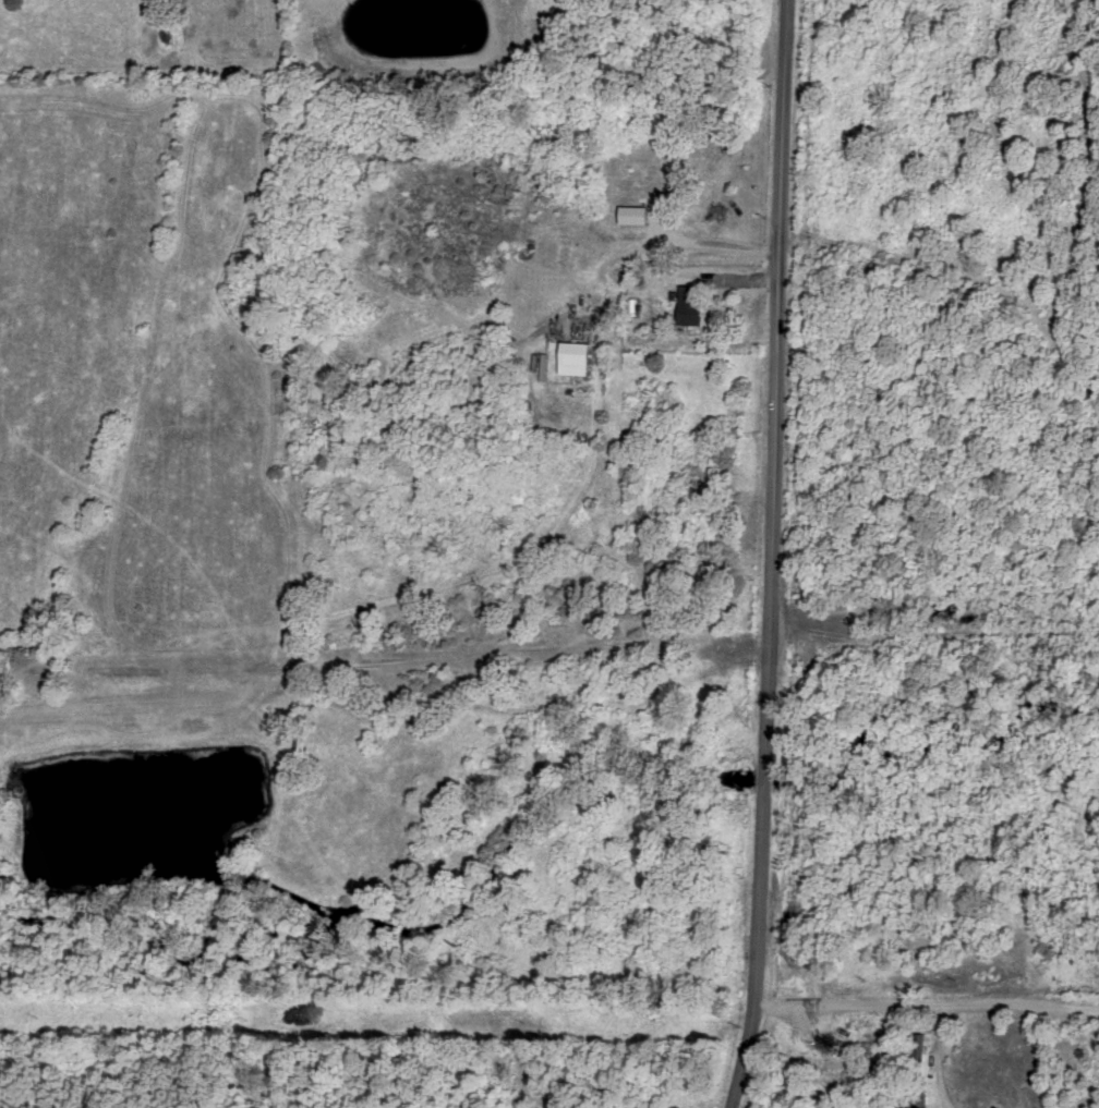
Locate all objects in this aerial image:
road: (940, 108)
building: (637, 212)
road: (652, 245)
building: (633, 304)
building: (695, 304)
building: (577, 356)
road: (938, 452)
road: (773, 555)
road: (923, 1006)
road: (938, 1058)

